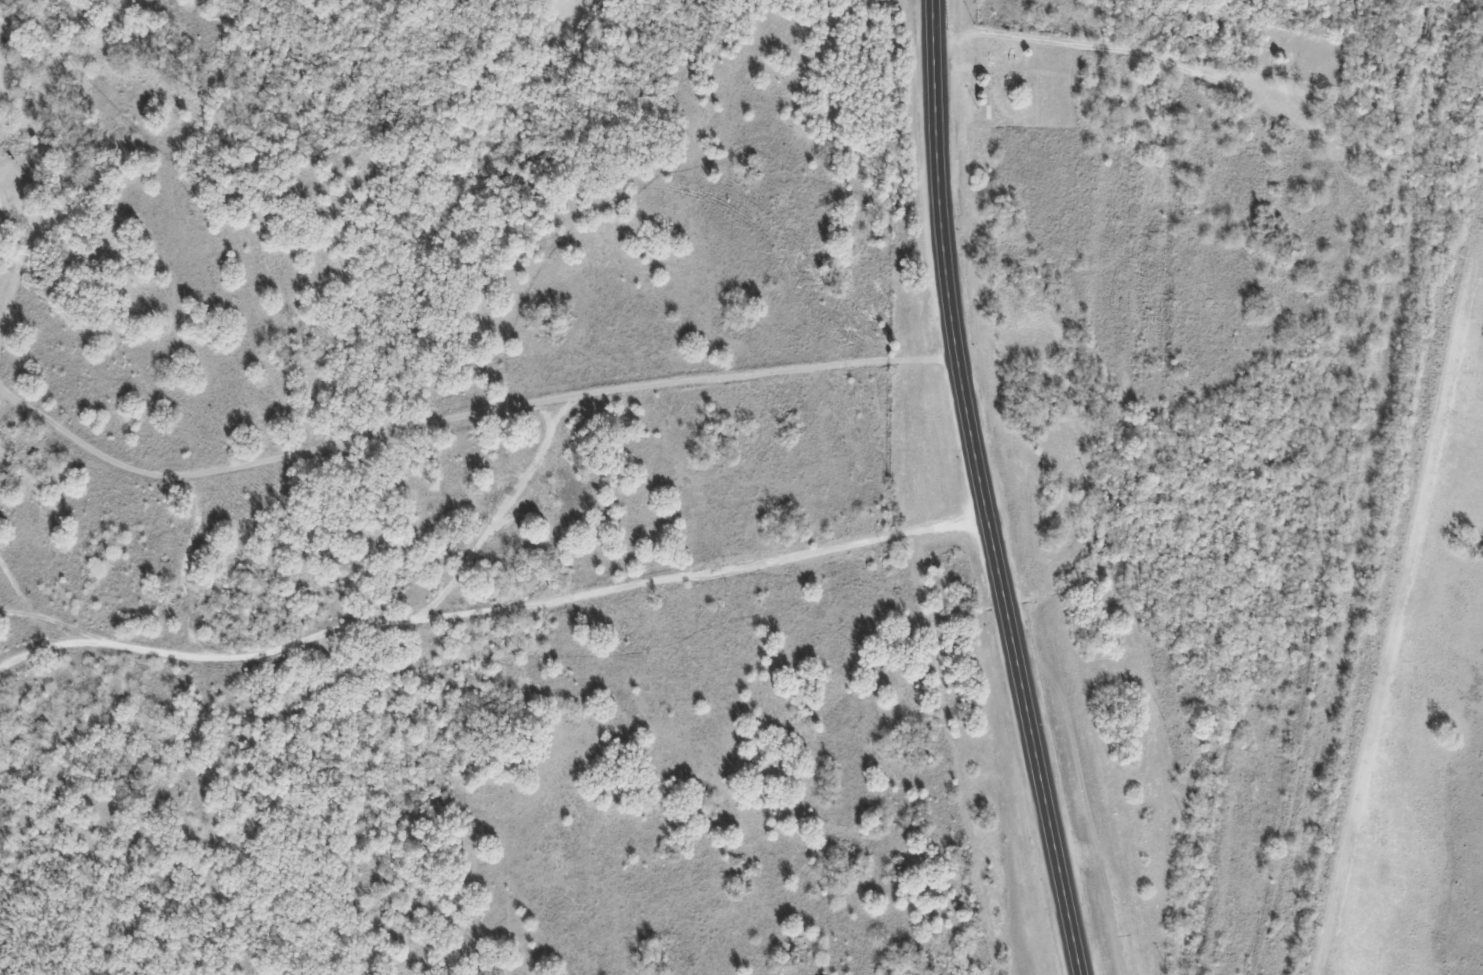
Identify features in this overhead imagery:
road: (1117, 52)
park: (1296, 54)
park: (1014, 85)
road: (20, 258)
road: (468, 414)
road: (986, 490)
road: (482, 612)
road: (46, 649)

